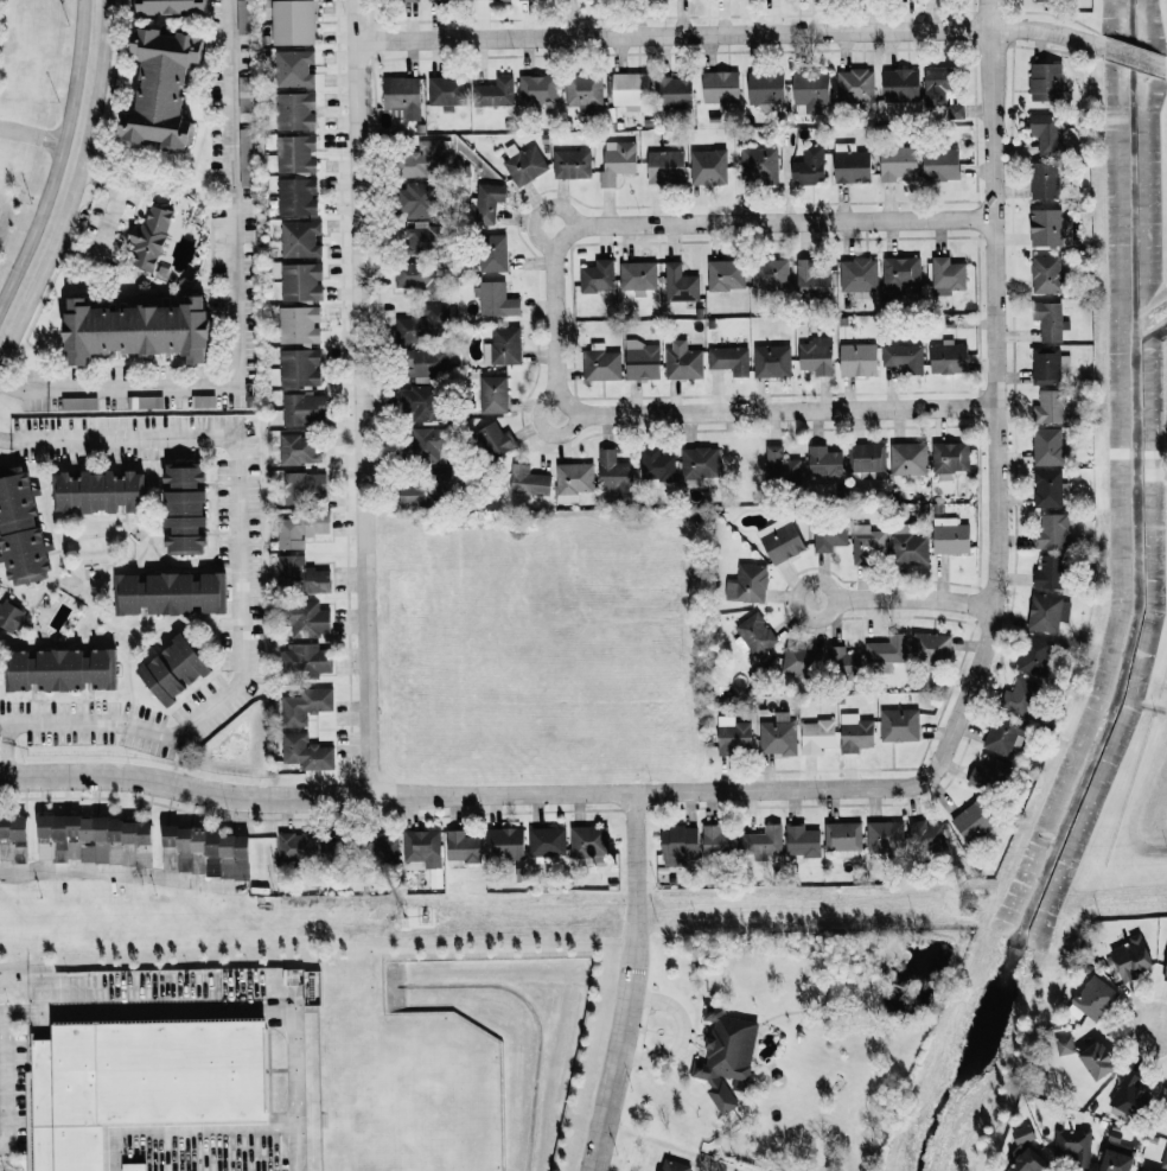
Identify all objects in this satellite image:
building: (400, 0)
building: (172, 6)
building: (242, 17)
building: (292, 21)
road: (731, 32)
road: (1136, 57)
building: (293, 68)
building: (1045, 81)
building: (854, 84)
building: (900, 84)
building: (937, 84)
building: (162, 87)
building: (720, 87)
building: (629, 89)
building: (765, 89)
building: (810, 90)
building: (445, 91)
building: (536, 91)
building: (582, 91)
building: (672, 91)
building: (493, 93)
building: (401, 96)
building: (956, 109)
building: (294, 110)
building: (1045, 132)
building: (294, 153)
building: (244, 157)
road: (60, 158)
building: (420, 159)
building: (617, 161)
building: (759, 163)
building: (850, 163)
building: (898, 163)
building: (570, 164)
building: (940, 164)
building: (524, 165)
building: (809, 165)
building: (664, 166)
building: (707, 166)
building: (1042, 179)
road: (115, 193)
building: (295, 196)
road: (81, 197)
building: (414, 199)
building: (487, 202)
road: (538, 215)
road: (760, 224)
building: (1045, 227)
building: (417, 237)
building: (148, 238)
building: (299, 238)
building: (492, 253)
building: (770, 272)
building: (900, 272)
building: (725, 274)
building: (857, 274)
building: (1045, 274)
building: (597, 275)
building: (637, 275)
building: (946, 275)
building: (417, 278)
building: (811, 279)
road: (235, 281)
building: (300, 281)
building: (678, 284)
building: (495, 299)
building: (1048, 320)
building: (420, 323)
building: (298, 324)
building: (138, 329)
building: (502, 346)
road: (560, 351)
building: (816, 355)
building: (903, 357)
building: (948, 357)
building: (857, 358)
building: (642, 359)
building: (728, 359)
building: (682, 361)
building: (771, 361)
building: (425, 362)
building: (600, 362)
building: (1048, 365)
building: (298, 367)
road: (23, 384)
building: (492, 394)
road: (997, 395)
road: (363, 397)
building: (419, 402)
building: (78, 403)
building: (1050, 407)
building: (300, 408)
road: (789, 413)
building: (495, 441)
building: (428, 444)
building: (1046, 446)
building: (299, 450)
building: (868, 457)
building: (950, 457)
building: (908, 458)
building: (700, 462)
building: (823, 463)
building: (656, 465)
building: (780, 466)
building: (184, 473)
building: (616, 473)
building: (530, 481)
building: (573, 481)
building: (304, 485)
building: (1047, 488)
building: (428, 489)
building: (100, 491)
building: (185, 521)
building: (20, 528)
building: (301, 528)
building: (1053, 530)
building: (950, 536)
building: (829, 537)
building: (780, 540)
building: (867, 545)
building: (910, 548)
road: (238, 572)
building: (1050, 572)
building: (304, 573)
building: (747, 584)
building: (170, 592)
road: (908, 604)
building: (1047, 612)
building: (11, 616)
building: (308, 619)
building: (754, 635)
building: (931, 647)
building: (887, 650)
building: (1035, 656)
building: (308, 658)
building: (802, 661)
building: (843, 663)
building: (60, 669)
building: (173, 669)
building: (1020, 696)
building: (305, 706)
building: (899, 725)
building: (855, 733)
building: (1003, 734)
building: (733, 736)
building: (778, 736)
building: (816, 736)
building: (307, 752)
road: (4, 753)
building: (986, 774)
road: (464, 794)
building: (974, 820)
building: (885, 835)
building: (927, 836)
building: (843, 838)
building: (13, 839)
building: (97, 839)
building: (718, 841)
building: (802, 841)
building: (505, 842)
building: (588, 842)
building: (761, 844)
building: (680, 845)
building: (295, 846)
building: (463, 846)
building: (422, 848)
building: (204, 852)
road: (120, 874)
power tower: (967, 904)
power tower: (402, 916)
building: (1130, 957)
building: (1165, 973)
road: (631, 982)
building: (1092, 999)
road: (217, 1019)
road: (1158, 1023)
building: (1064, 1044)
building: (726, 1056)
building: (1096, 1061)
road: (2, 1078)
building: (135, 1089)
building: (1129, 1095)
building: (1072, 1146)
building: (1026, 1153)
building: (1117, 1157)
building: (1165, 1160)
building: (674, 1165)
building: (1144, 1170)

